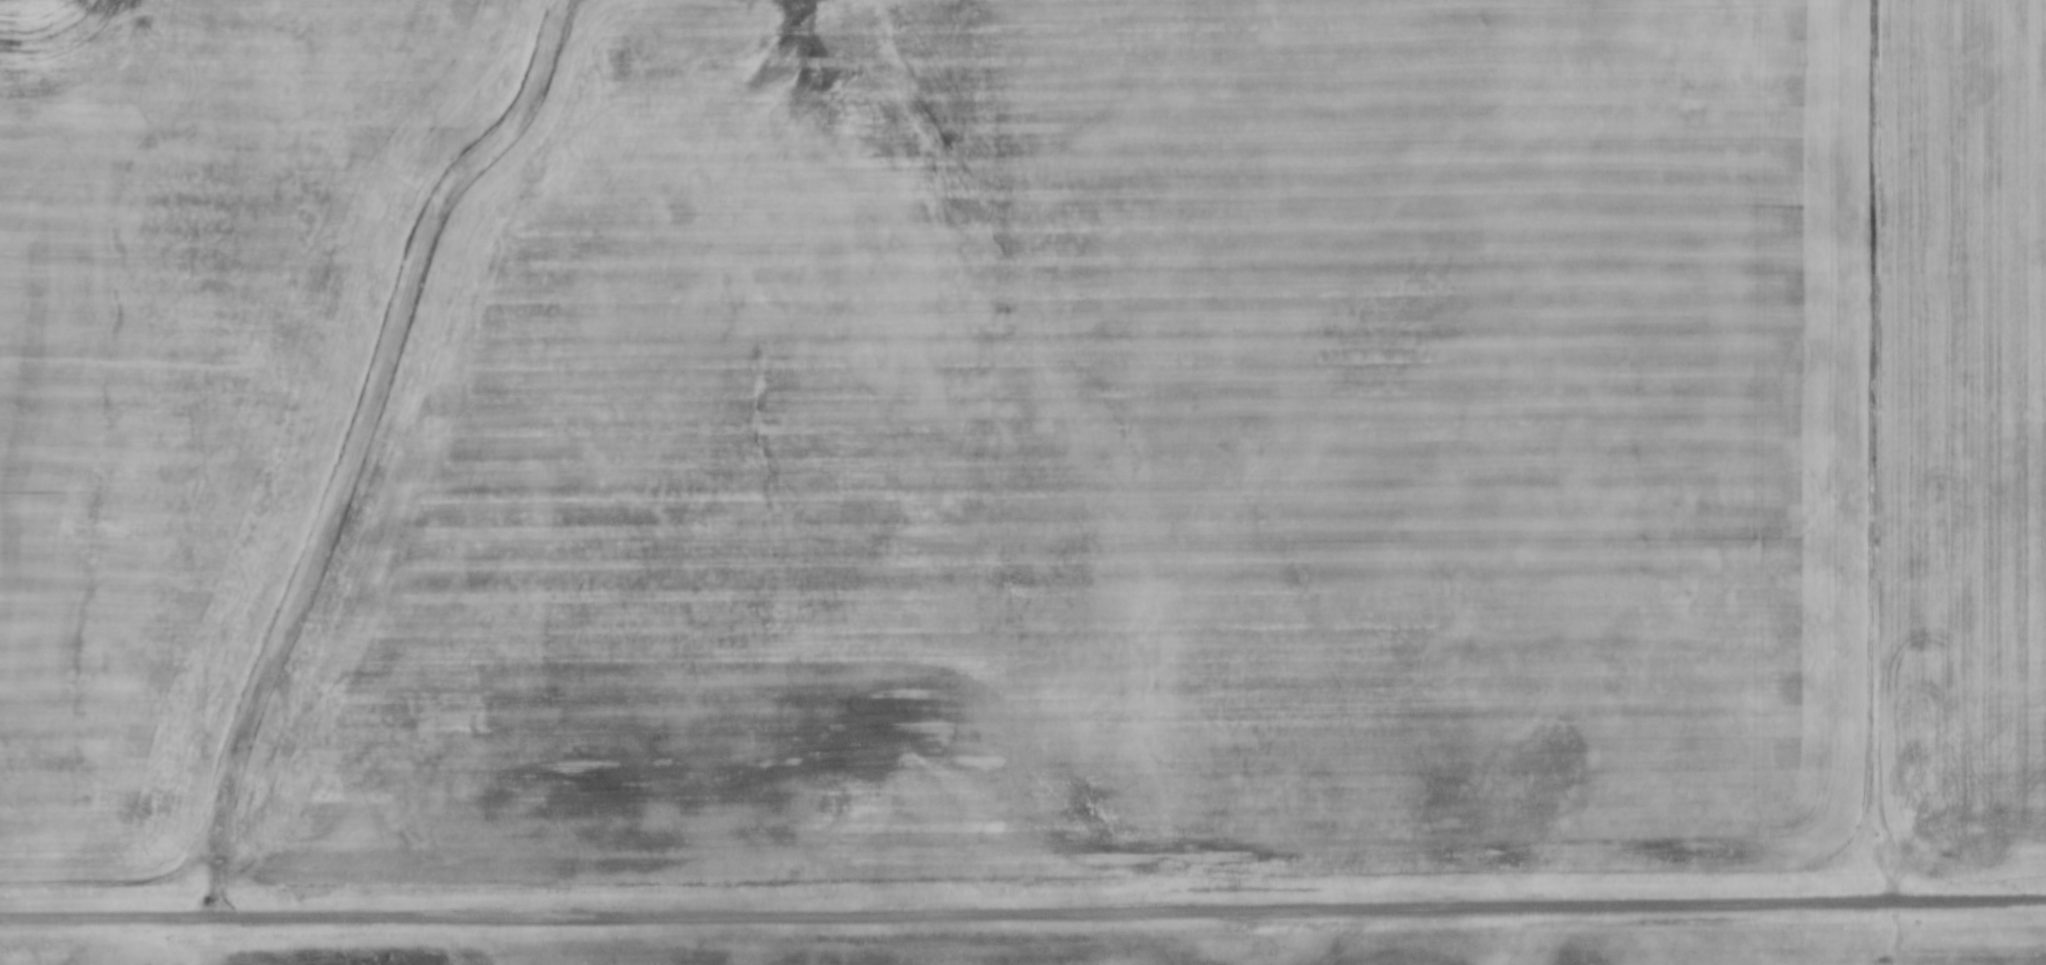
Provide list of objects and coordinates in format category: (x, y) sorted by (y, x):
road: (1023, 910)

